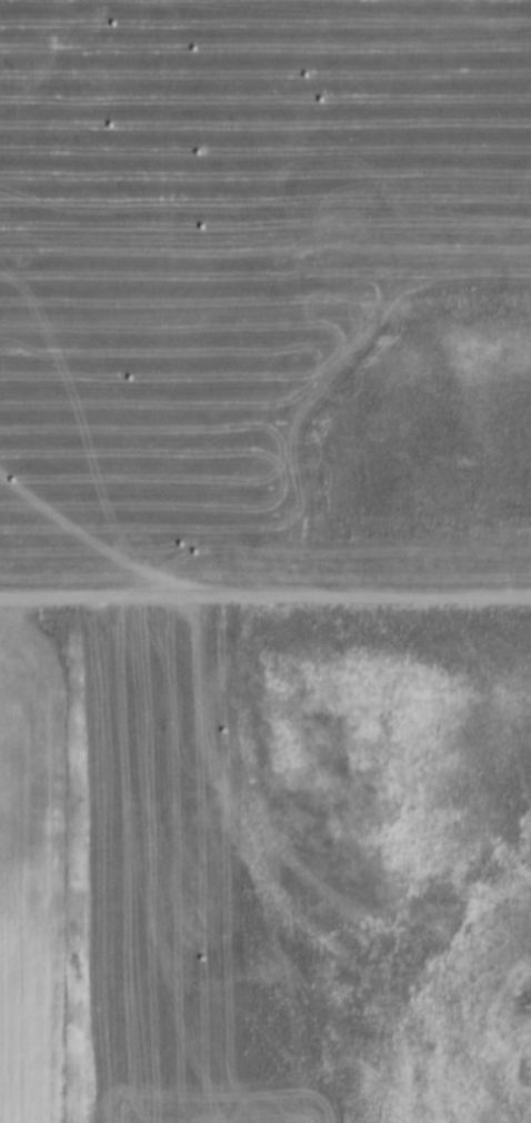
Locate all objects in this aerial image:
road: (264, 598)

